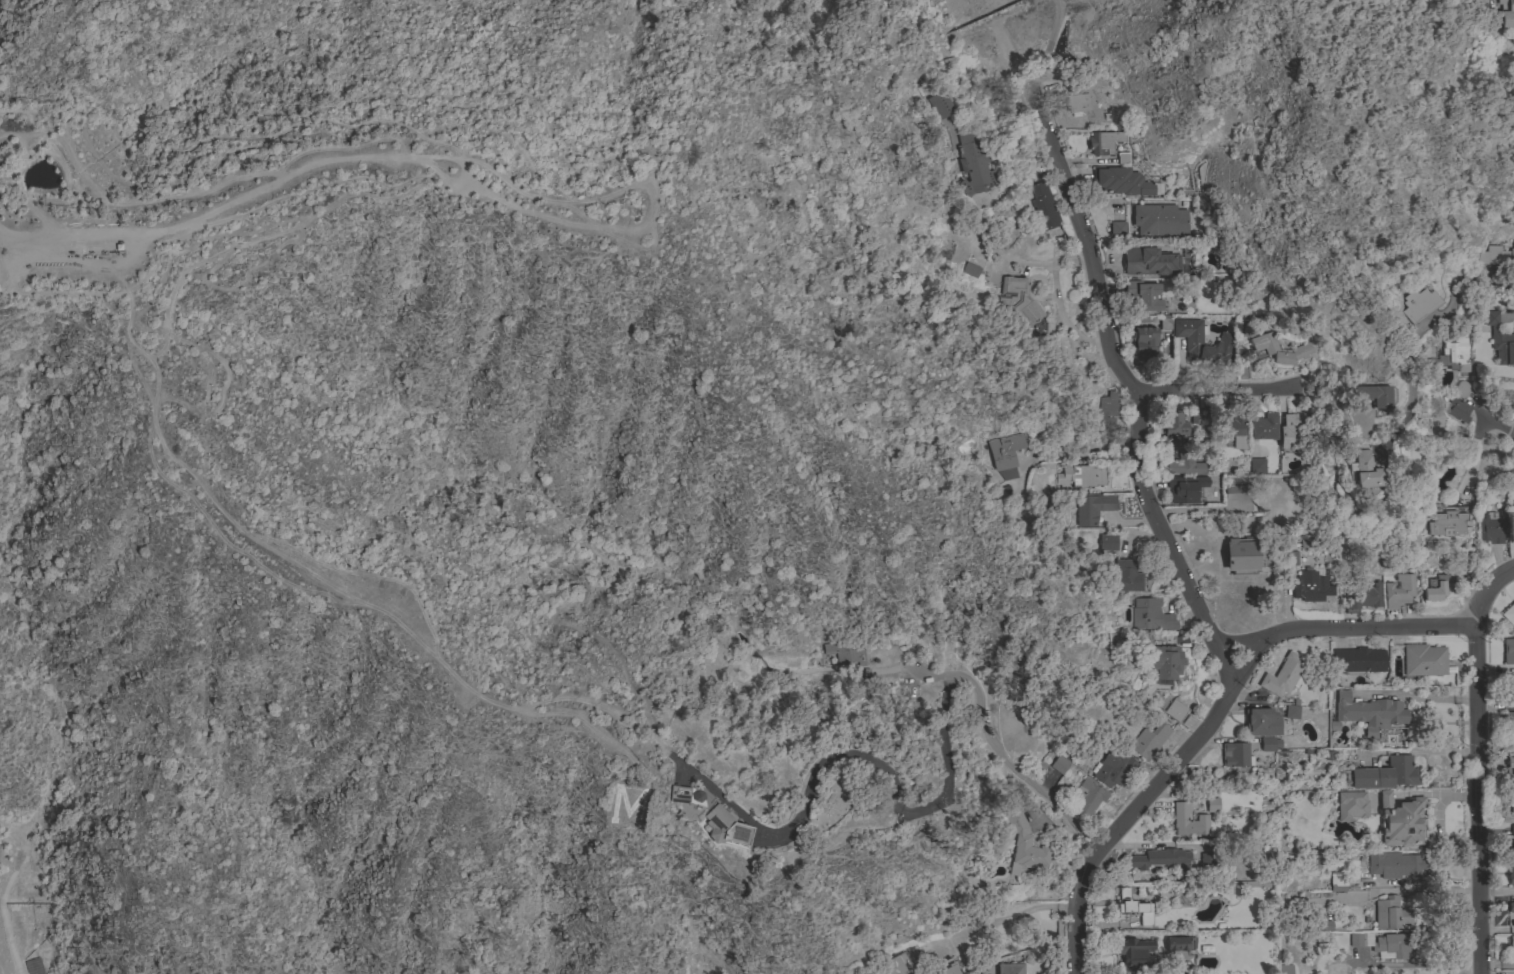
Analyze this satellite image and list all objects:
building: (1507, 13)
road: (1512, 38)
road: (1045, 52)
building: (1074, 100)
building: (940, 104)
building: (1104, 142)
building: (1123, 158)
building: (976, 164)
building: (1120, 180)
building: (1043, 206)
road: (526, 211)
road: (576, 213)
building: (1159, 220)
building: (978, 226)
building: (1116, 228)
road: (66, 234)
building: (1497, 255)
road: (14, 256)
building: (1150, 261)
building: (970, 269)
building: (1142, 295)
building: (1015, 302)
building: (1418, 304)
building: (1165, 322)
road: (1423, 331)
building: (1499, 339)
building: (1193, 341)
building: (1144, 342)
building: (1263, 345)
building: (1455, 353)
building: (1461, 388)
road: (1215, 392)
building: (1372, 394)
building: (1107, 409)
building: (1458, 409)
building: (1175, 423)
building: (1264, 426)
building: (1232, 431)
building: (1291, 432)
road: (1509, 435)
road: (1501, 437)
building: (1005, 454)
road: (1087, 454)
building: (1182, 458)
building: (1256, 465)
building: (1363, 469)
building: (1082, 475)
building: (1185, 488)
building: (1238, 491)
building: (1092, 507)
building: (1512, 509)
building: (1446, 523)
building: (1491, 529)
building: (1106, 541)
building: (1242, 555)
building: (1290, 558)
road: (1181, 562)
building: (1126, 576)
road: (299, 584)
building: (1438, 586)
building: (1310, 589)
building: (1397, 591)
building: (1363, 594)
building: (1509, 614)
building: (1151, 615)
road: (1376, 627)
road: (1239, 636)
building: (1508, 650)
building: (1361, 659)
building: (1423, 659)
building: (1163, 660)
building: (1284, 675)
building: (1509, 692)
building: (1292, 709)
building: (1176, 710)
building: (1369, 712)
building: (1260, 722)
building: (1508, 723)
building: (1148, 740)
building: (1266, 743)
building: (1235, 754)
building: (1510, 762)
building: (1059, 764)
building: (1114, 767)
building: (1384, 773)
building: (678, 793)
building: (1086, 796)
building: (1511, 798)
road: (1479, 800)
building: (1212, 804)
building: (1351, 805)
road: (925, 811)
building: (1180, 817)
building: (1401, 820)
building: (724, 827)
building: (1258, 831)
building: (1511, 842)
building: (1024, 845)
building: (1160, 858)
building: (1206, 859)
building: (1394, 864)
building: (1510, 872)
building: (1337, 880)
building: (1132, 908)
building: (1511, 911)
building: (1390, 913)
road: (1002, 917)
building: (1320, 923)
building: (1176, 943)
building: (1388, 943)
building: (1510, 943)
building: (1135, 951)
building: (896, 964)
building: (945, 967)
building: (1010, 968)
building: (1285, 969)
building: (1334, 971)

